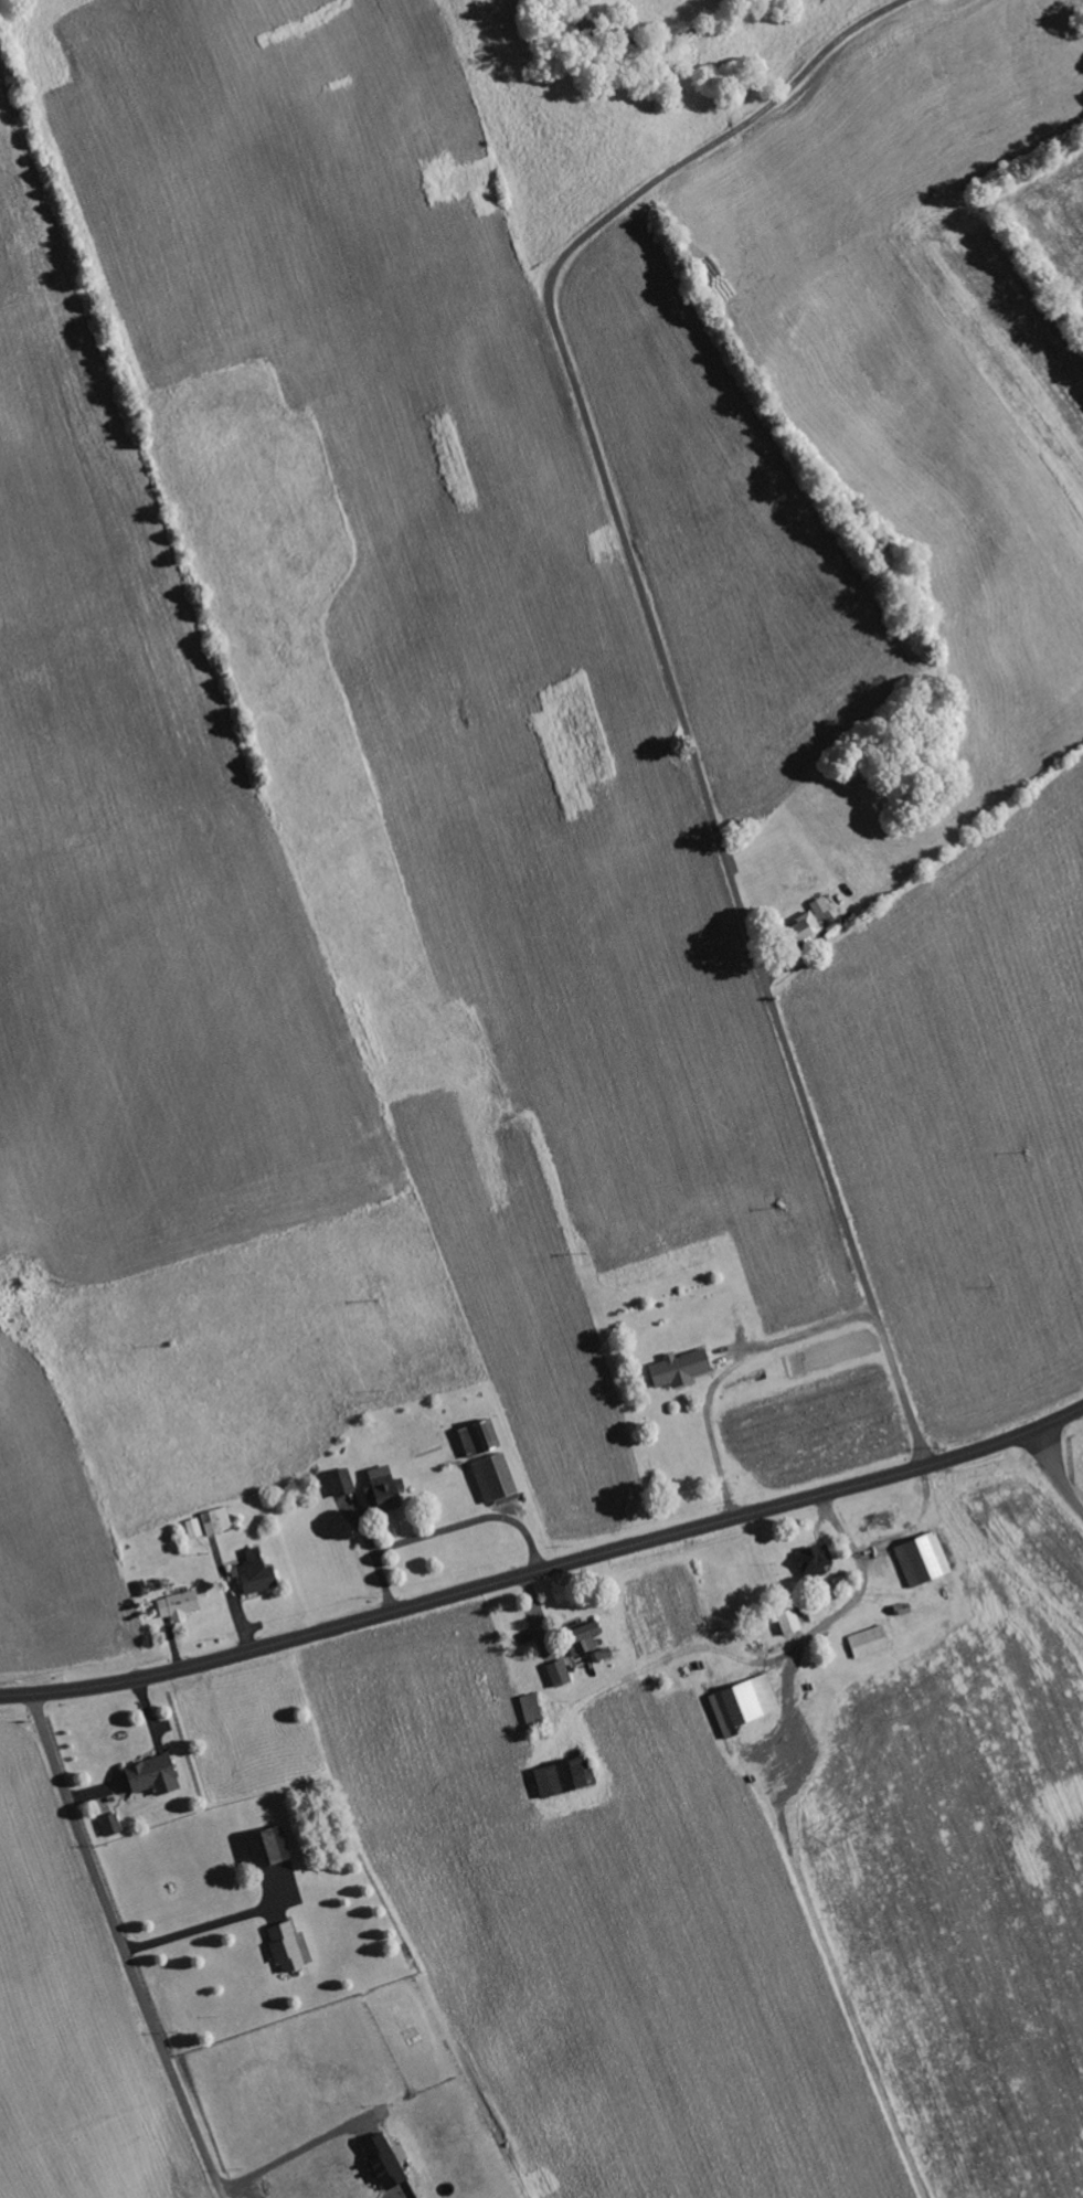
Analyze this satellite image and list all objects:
road: (662, 657)
building: (820, 906)
building: (804, 928)
building: (681, 1367)
building: (480, 1436)
road: (1052, 1473)
building: (496, 1478)
building: (342, 1482)
building: (382, 1488)
building: (217, 1520)
building: (194, 1527)
building: (924, 1559)
building: (817, 1561)
road: (545, 1571)
building: (257, 1572)
building: (179, 1604)
building: (790, 1621)
building: (584, 1637)
building: (870, 1640)
building: (602, 1654)
building: (560, 1671)
building: (744, 1703)
building: (533, 1710)
building: (153, 1775)
building: (565, 1776)
building: (113, 1824)
building: (269, 1846)
building: (287, 1946)
road: (123, 1947)
building: (384, 2162)

